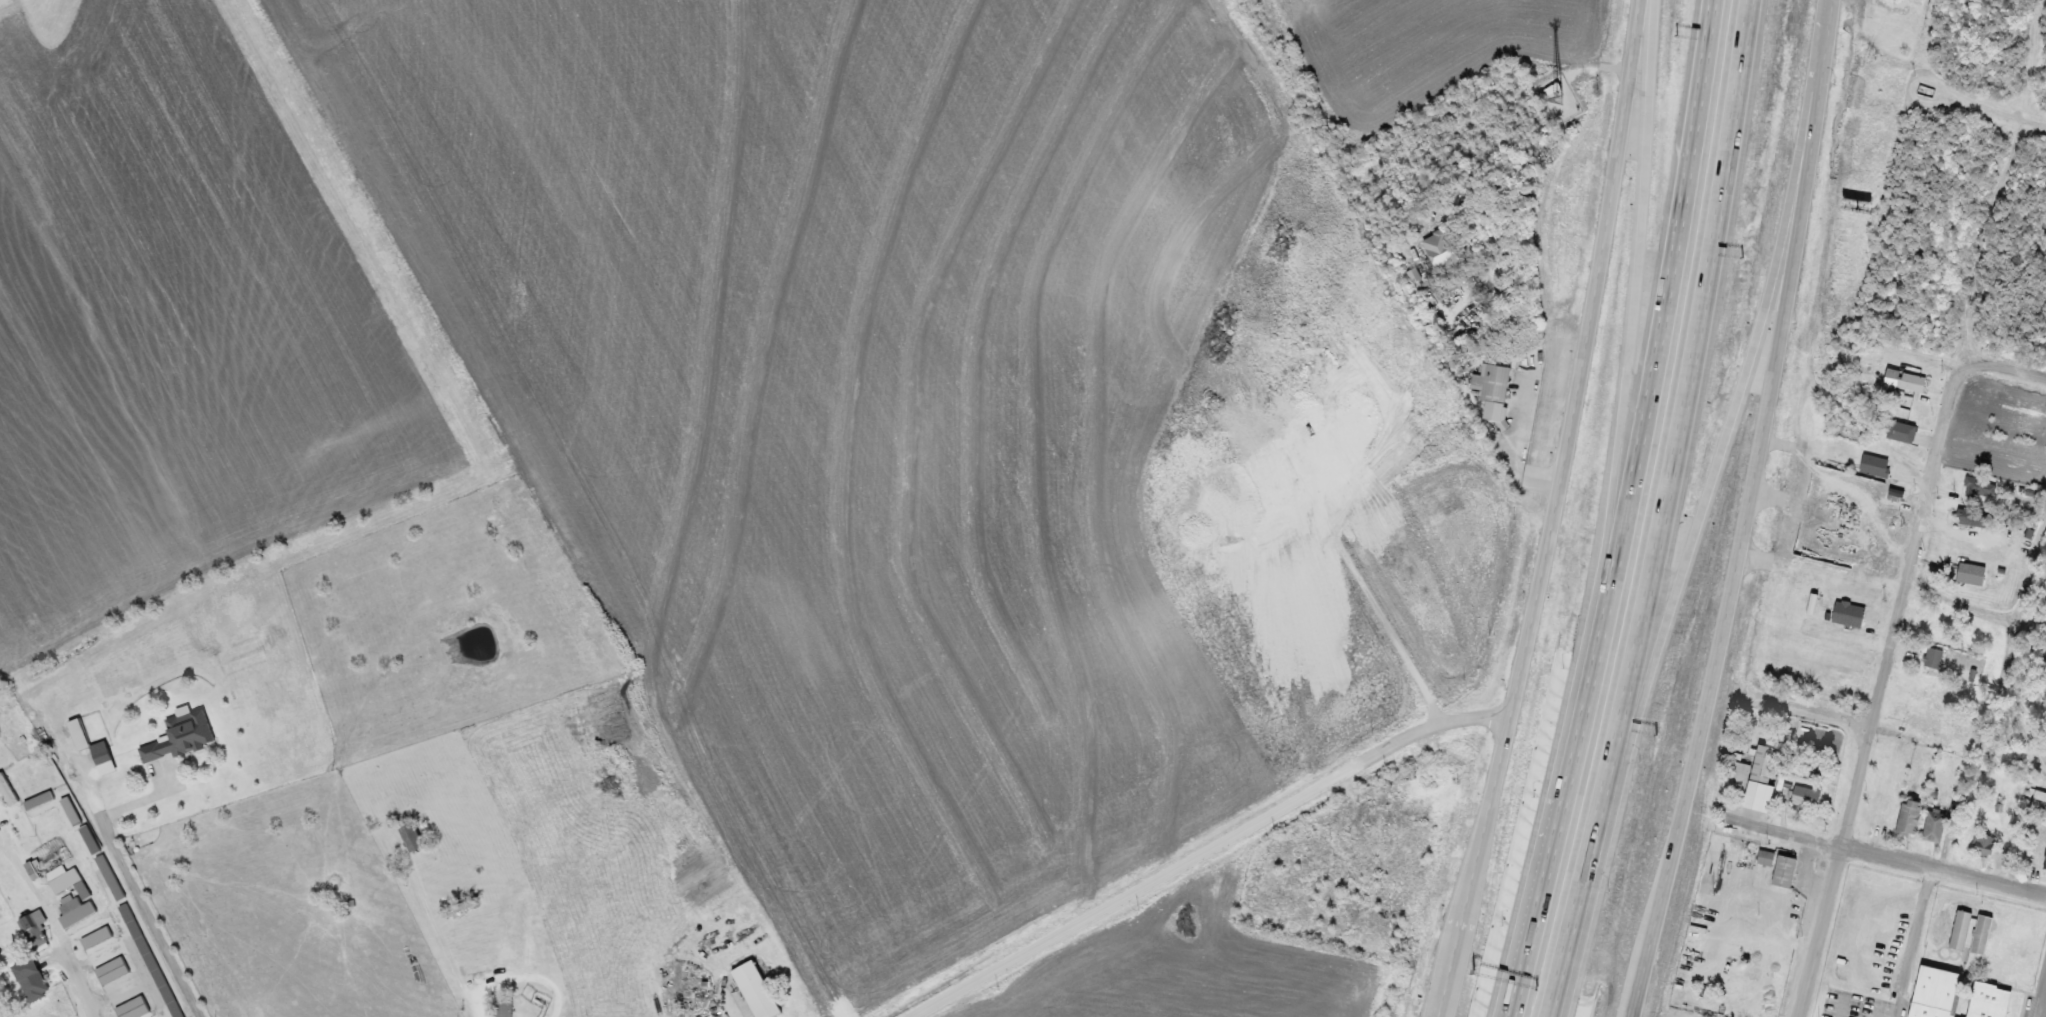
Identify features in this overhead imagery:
crop: (1426, 48)
road: (1992, 108)
building: (1442, 249)
road: (2008, 367)
building: (1910, 382)
building: (1554, 411)
crop: (865, 417)
building: (1898, 430)
building: (1843, 449)
road: (1619, 455)
building: (1279, 469)
building: (1982, 484)
road: (1556, 510)
road: (1705, 510)
road: (1667, 511)
road: (1749, 511)
road: (1632, 512)
building: (1972, 516)
building: (1879, 532)
building: (1873, 560)
crop: (1443, 571)
building: (1968, 573)
building: (1847, 603)
road: (1375, 604)
building: (1933, 656)
road: (1879, 689)
road: (1815, 710)
building: (1925, 722)
building: (182, 736)
building: (104, 758)
building: (1766, 763)
building: (1738, 773)
building: (2039, 794)
building: (1804, 795)
building: (70, 811)
building: (1907, 816)
building: (1933, 825)
building: (1491, 833)
building: (413, 838)
building: (1982, 844)
building: (1735, 846)
road: (1207, 854)
road: (1881, 854)
building: (2044, 856)
building: (1767, 857)
building: (1782, 870)
building: (68, 881)
road: (1456, 904)
road: (1482, 907)
building: (76, 910)
building: (1494, 913)
road: (147, 917)
road: (1650, 927)
park: (1926, 931)
building: (33, 932)
building: (98, 937)
park: (1869, 950)
building: (151, 960)
building: (114, 970)
building: (34, 979)
building: (758, 990)
building: (1932, 993)
building: (1984, 1000)
building: (1469, 1001)
building: (503, 1007)
building: (135, 1008)
road: (2044, 1012)

